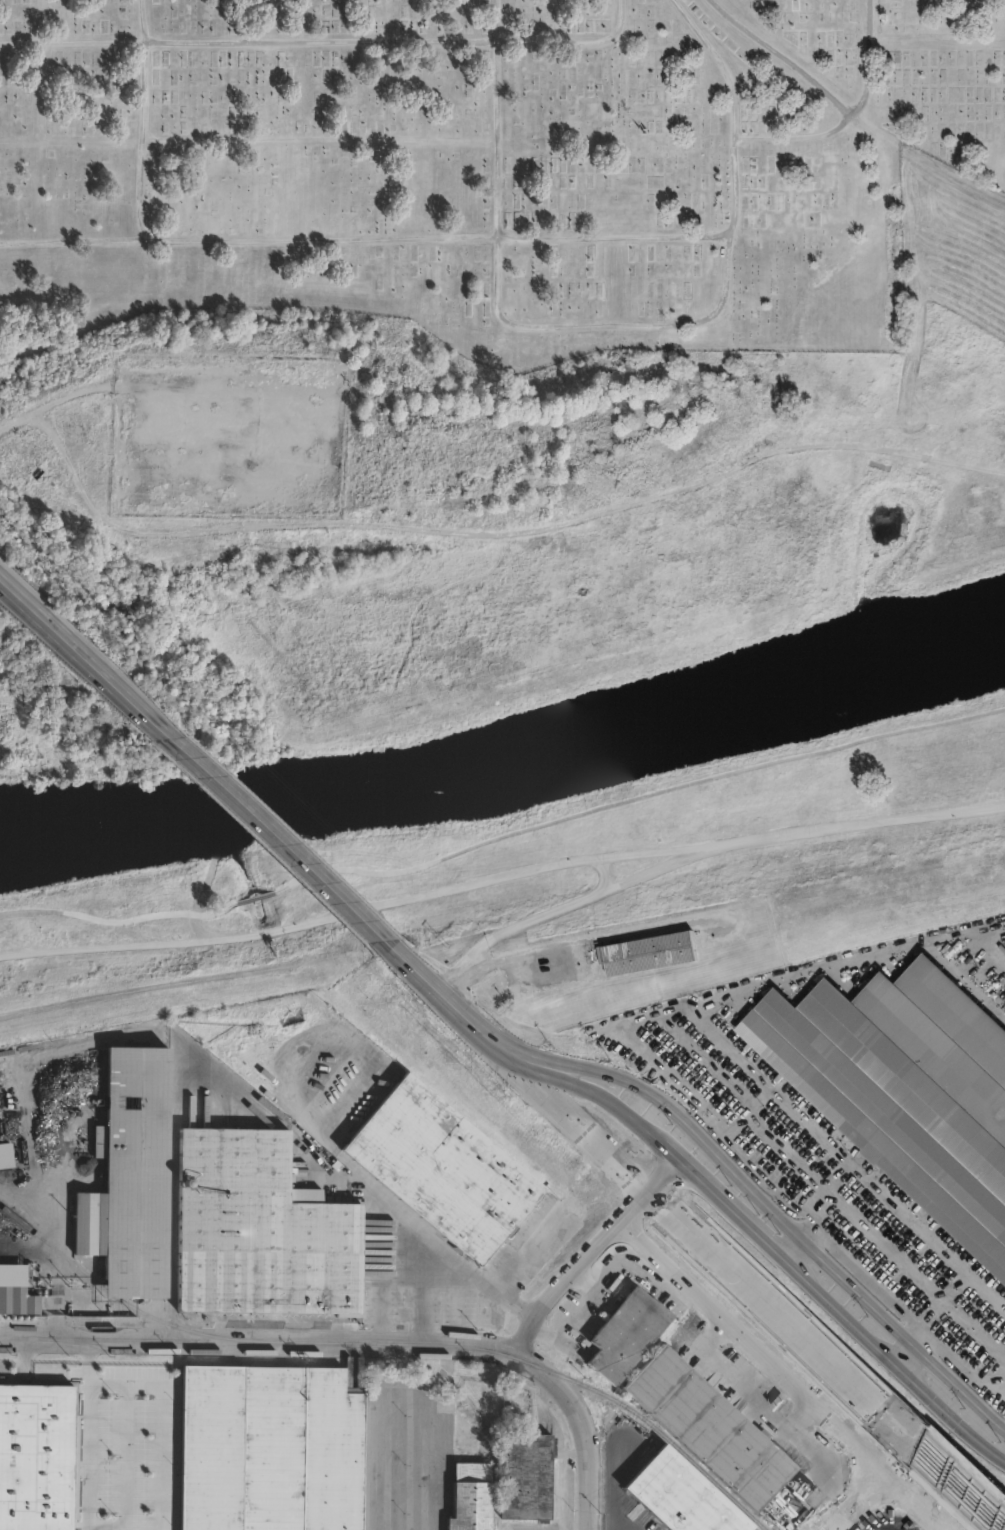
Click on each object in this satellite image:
road: (399, 41)
road: (787, 54)
road: (143, 119)
road: (848, 119)
park: (486, 164)
road: (366, 238)
road: (617, 325)
road: (84, 659)
park: (497, 665)
river: (508, 771)
road: (638, 797)
road: (276, 840)
road: (604, 871)
road: (501, 877)
road: (561, 907)
road: (104, 918)
building: (652, 953)
road: (420, 977)
road: (473, 1027)
building: (907, 1088)
road: (692, 1140)
building: (443, 1169)
building: (133, 1178)
parking lot: (821, 1181)
building: (261, 1232)
road: (432, 1243)
road: (704, 1244)
road: (594, 1249)
building: (18, 1300)
road: (710, 1322)
building: (627, 1335)
road: (280, 1341)
road: (162, 1422)
building: (709, 1428)
road: (86, 1434)
road: (584, 1447)
building: (270, 1450)
building: (36, 1457)
building: (524, 1475)
road: (962, 1487)
road: (608, 1492)
building: (680, 1496)
building: (467, 1497)
road: (837, 1527)
road: (842, 1527)
road: (104, 1528)

